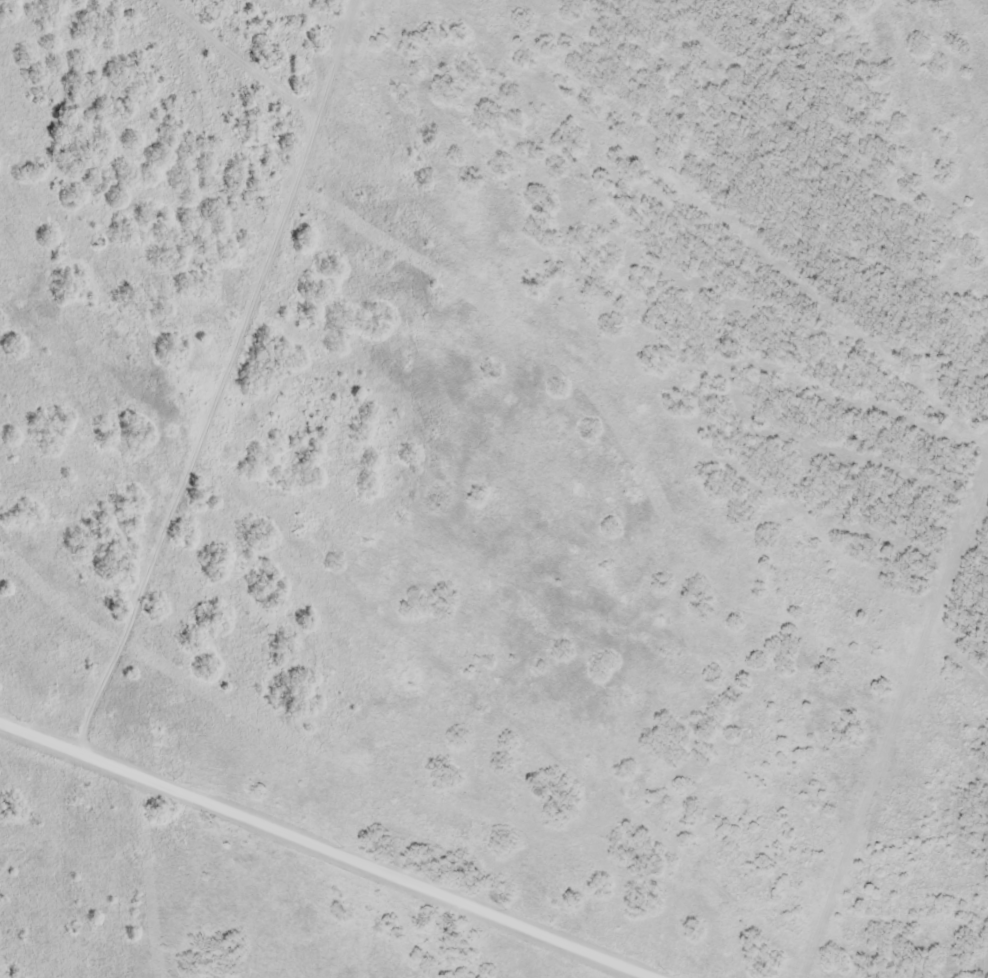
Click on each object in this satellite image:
road: (198, 450)
road: (326, 849)

